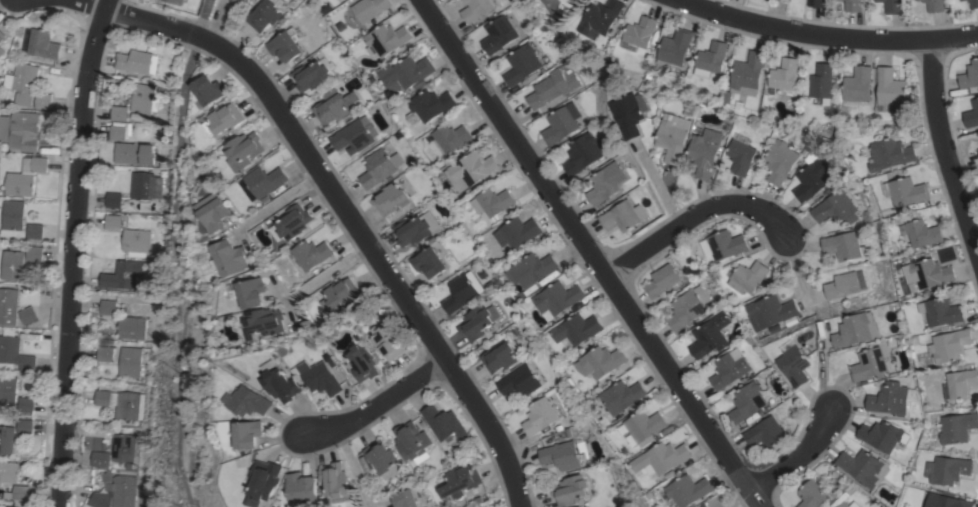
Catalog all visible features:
building: (166, 0)
building: (778, 0)
building: (918, 0)
building: (958, 0)
building: (235, 1)
building: (239, 1)
building: (573, 1)
building: (817, 3)
building: (974, 4)
building: (854, 5)
building: (935, 5)
building: (893, 6)
building: (370, 8)
building: (476, 9)
building: (264, 15)
building: (600, 17)
road: (152, 26)
road: (826, 30)
building: (639, 33)
building: (498, 34)
building: (2, 35)
building: (387, 38)
building: (41, 43)
building: (286, 45)
building: (674, 47)
building: (2, 52)
building: (712, 57)
building: (134, 61)
building: (522, 63)
building: (406, 73)
building: (784, 73)
building: (747, 75)
building: (969, 75)
building: (311, 76)
building: (821, 81)
building: (24, 82)
building: (554, 86)
building: (857, 87)
building: (890, 89)
building: (207, 90)
building: (144, 98)
building: (44, 101)
building: (431, 104)
building: (332, 106)
building: (119, 113)
building: (631, 113)
building: (971, 115)
building: (223, 119)
building: (561, 123)
building: (118, 130)
building: (26, 131)
building: (355, 135)
building: (674, 136)
building: (451, 137)
building: (977, 149)
building: (243, 150)
building: (705, 152)
building: (135, 153)
building: (582, 153)
road: (944, 153)
building: (892, 154)
building: (741, 156)
building: (780, 161)
building: (379, 167)
building: (470, 170)
building: (27, 176)
building: (813, 177)
building: (265, 181)
building: (605, 183)
building: (146, 185)
road: (659, 186)
building: (906, 191)
building: (391, 198)
building: (114, 200)
road: (277, 201)
building: (492, 202)
building: (836, 209)
building: (214, 211)
building: (14, 214)
building: (623, 216)
road: (692, 217)
building: (113, 222)
building: (293, 222)
building: (36, 231)
building: (412, 231)
building: (519, 231)
building: (924, 233)
building: (136, 242)
building: (724, 244)
building: (842, 245)
road: (71, 251)
building: (35, 253)
building: (311, 253)
road: (588, 254)
building: (230, 258)
building: (430, 262)
building: (14, 265)
road: (794, 266)
building: (530, 269)
road: (327, 273)
road: (387, 274)
building: (928, 274)
building: (122, 275)
building: (747, 276)
building: (662, 280)
building: (842, 285)
building: (251, 291)
building: (460, 293)
building: (339, 294)
building: (558, 297)
building: (9, 306)
building: (107, 307)
building: (688, 307)
building: (769, 311)
building: (942, 311)
building: (29, 315)
building: (263, 322)
building: (478, 322)
building: (131, 327)
building: (576, 329)
building: (856, 329)
building: (710, 336)
building: (387, 342)
building: (950, 345)
building: (104, 353)
building: (14, 354)
building: (499, 357)
building: (601, 361)
building: (129, 362)
building: (363, 362)
building: (794, 363)
building: (870, 363)
building: (729, 368)
building: (320, 378)
building: (519, 381)
building: (280, 382)
building: (961, 382)
building: (8, 389)
building: (623, 396)
building: (889, 399)
building: (251, 402)
road: (378, 402)
building: (747, 402)
building: (121, 403)
building: (26, 404)
building: (540, 415)
building: (444, 423)
building: (643, 427)
building: (957, 427)
building: (14, 433)
building: (765, 433)
building: (250, 434)
building: (881, 435)
building: (411, 440)
building: (123, 447)
building: (561, 455)
road: (795, 456)
building: (383, 458)
building: (663, 458)
building: (100, 459)
building: (864, 468)
building: (947, 470)
building: (8, 471)
building: (337, 479)
building: (462, 480)
building: (269, 481)
building: (119, 488)
building: (305, 488)
building: (570, 490)
building: (689, 490)
building: (813, 492)
building: (18, 493)
building: (408, 498)
building: (99, 499)
building: (947, 501)
building: (848, 504)
building: (5, 506)

